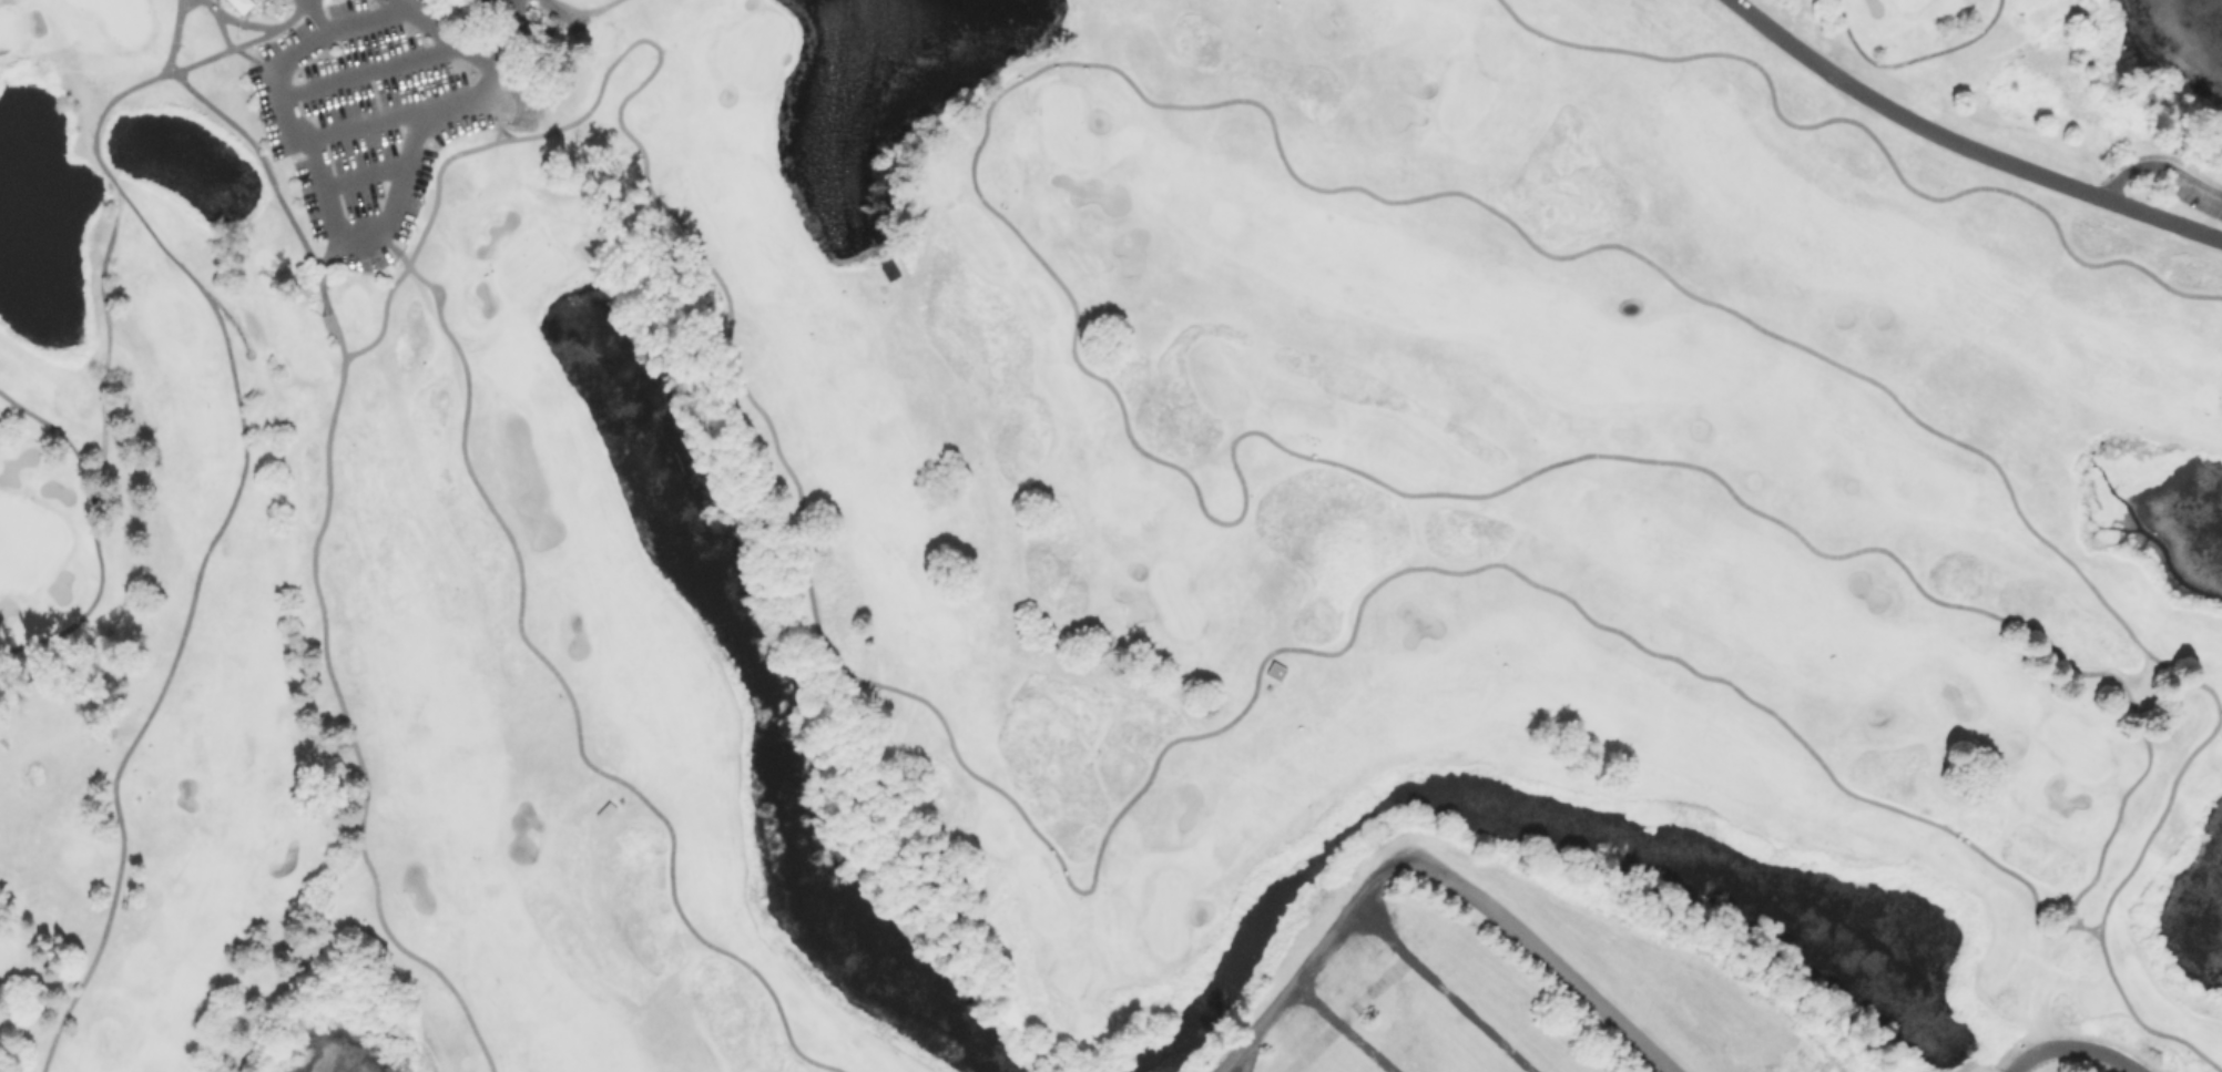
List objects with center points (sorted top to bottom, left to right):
road: (207, 2)
building: (239, 3)
road: (583, 9)
road: (317, 14)
road: (243, 21)
road: (472, 21)
road: (442, 32)
road: (1910, 55)
road: (367, 69)
road: (371, 120)
road: (1868, 129)
road: (1965, 144)
road: (2159, 164)
road: (326, 205)
road: (384, 316)
park: (1084, 509)
road: (224, 512)
road: (318, 527)
road: (93, 530)
road: (1875, 548)
building: (1274, 668)
road: (565, 692)
building: (604, 809)
road: (1429, 868)
road: (2083, 925)
stadium: (1545, 970)
road: (2072, 1045)
stadium: (2069, 1064)

